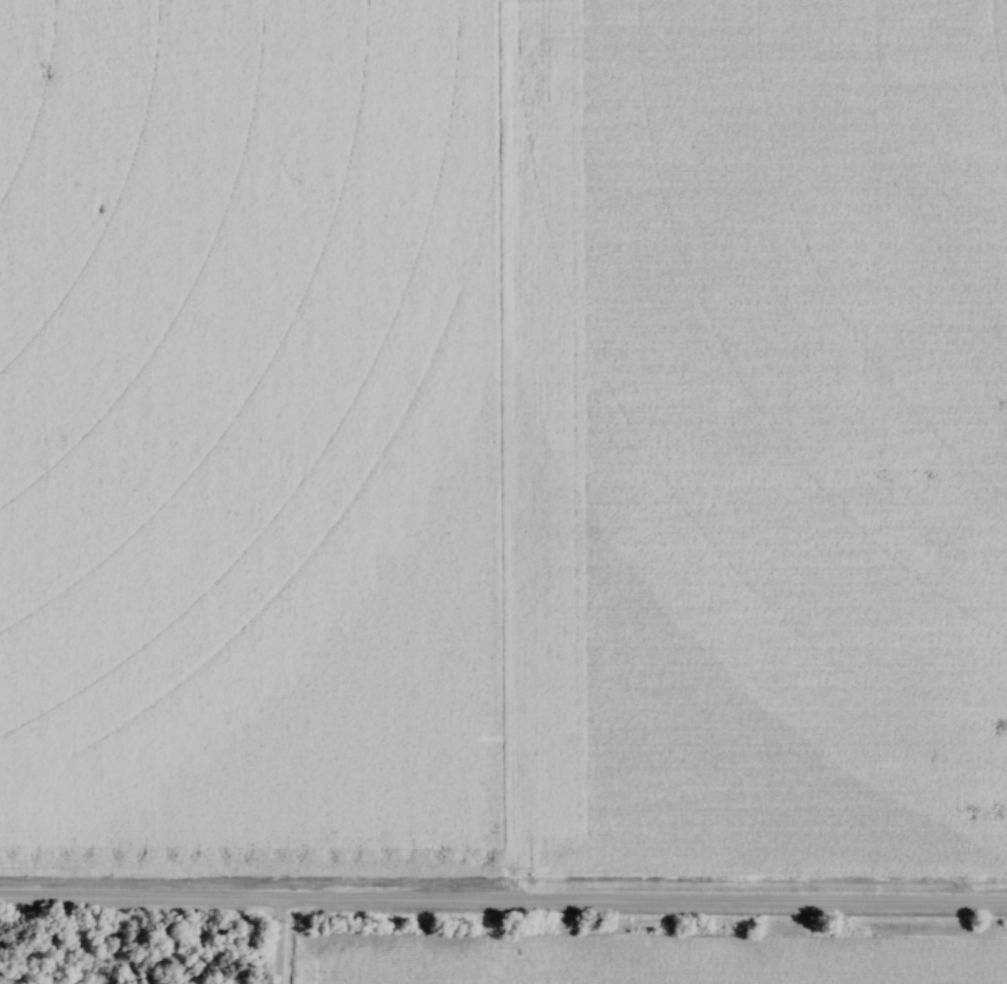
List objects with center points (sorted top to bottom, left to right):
crop: (238, 435)
road: (503, 903)
road: (275, 942)

